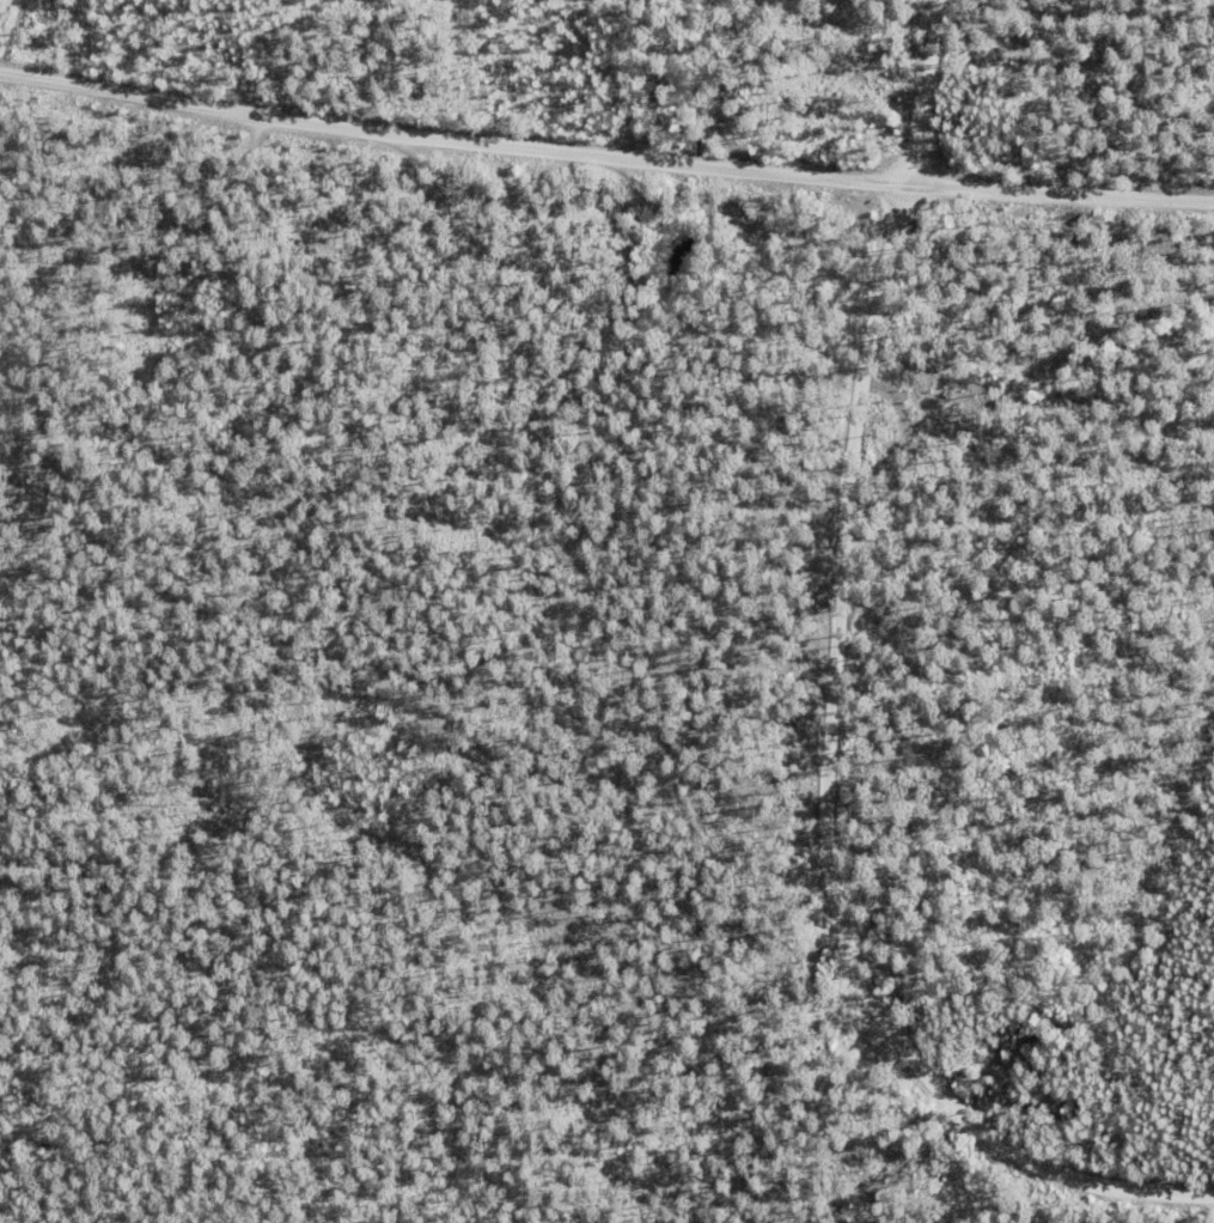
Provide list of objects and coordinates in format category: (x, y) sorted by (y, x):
road: (925, 92)
road: (250, 112)
road: (858, 180)
road: (824, 801)

